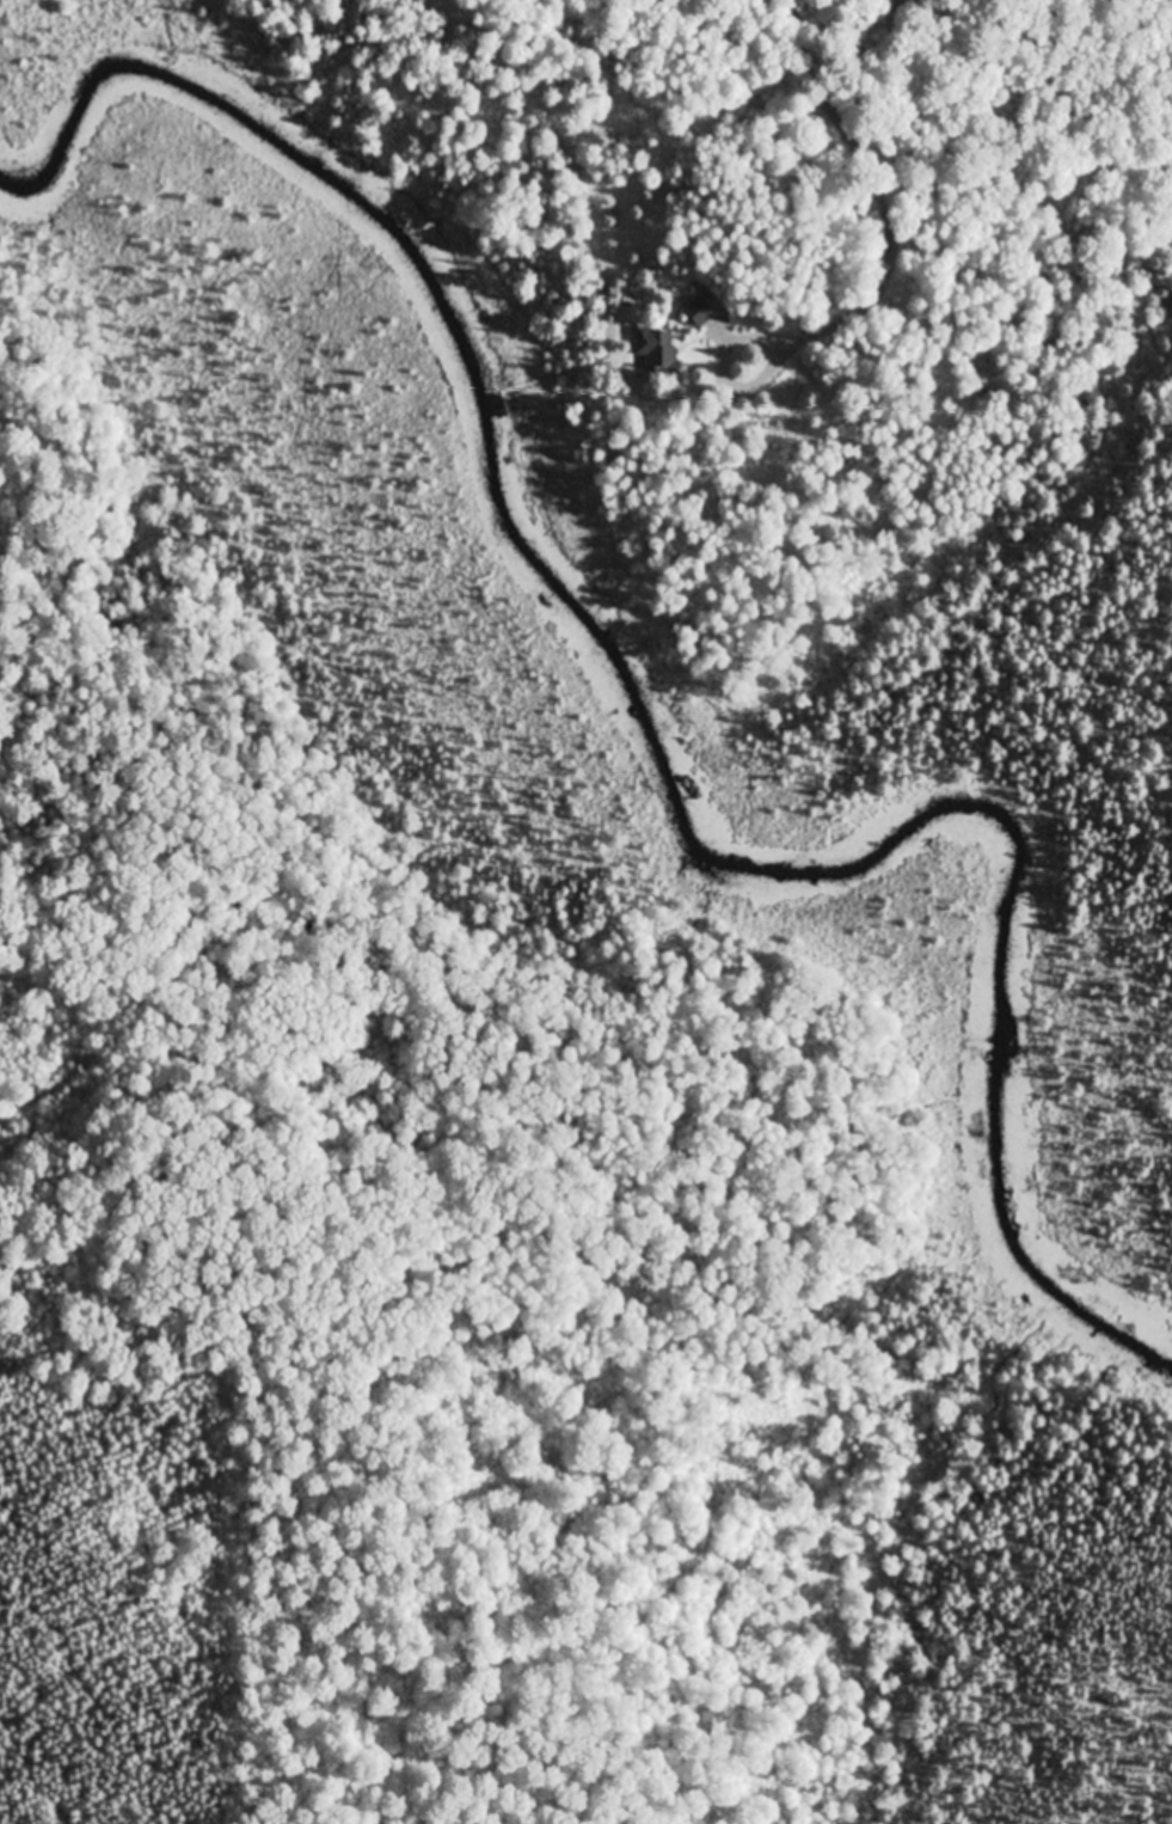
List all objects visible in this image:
building: (649, 347)

